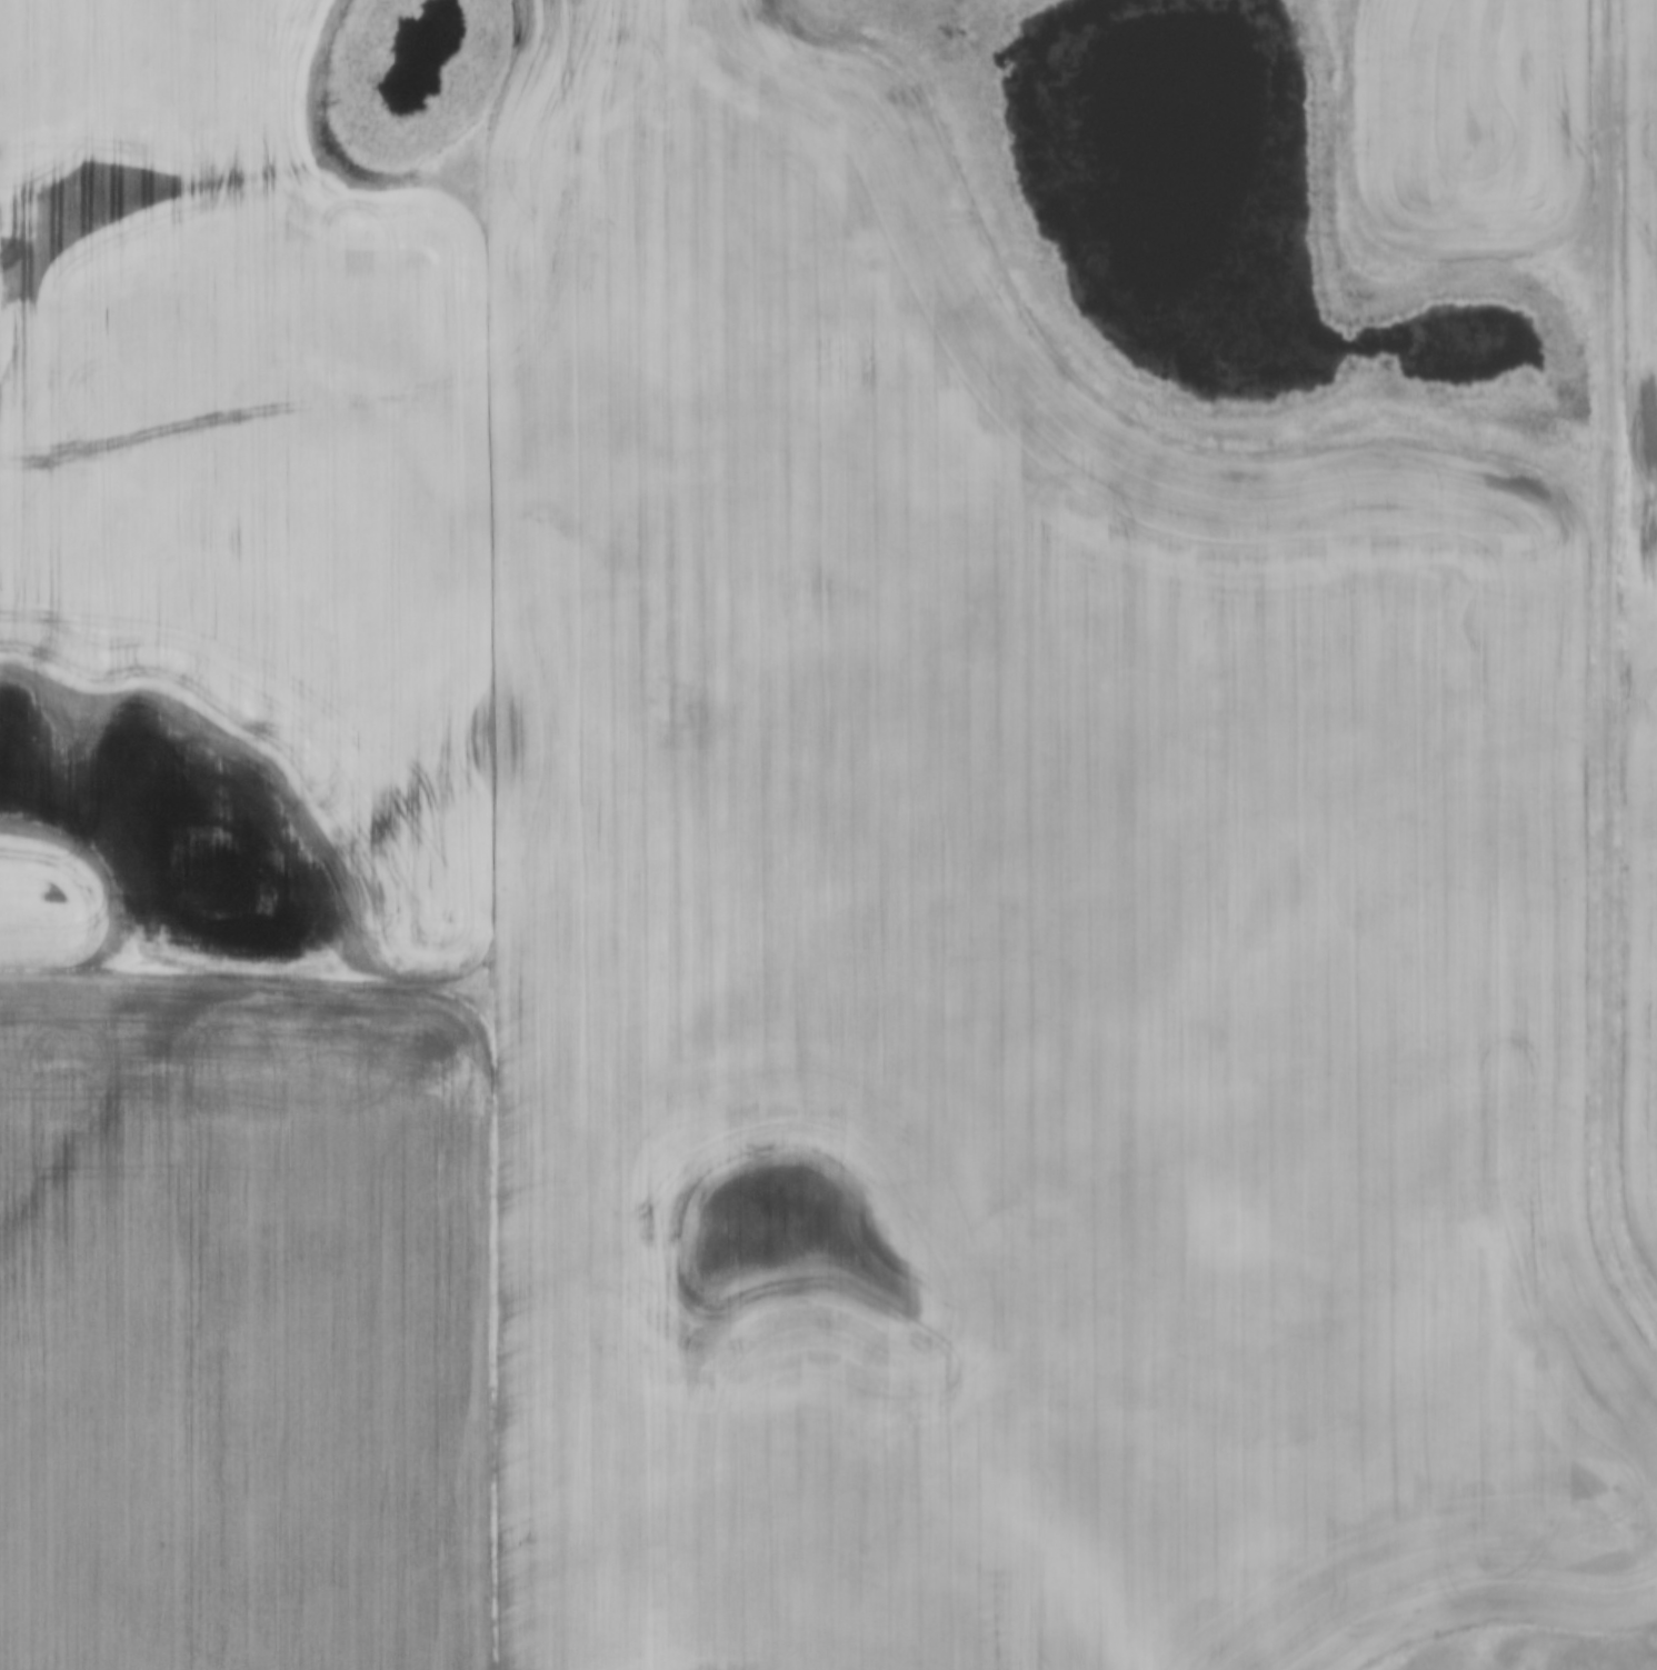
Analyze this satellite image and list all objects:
road: (1607, 663)

